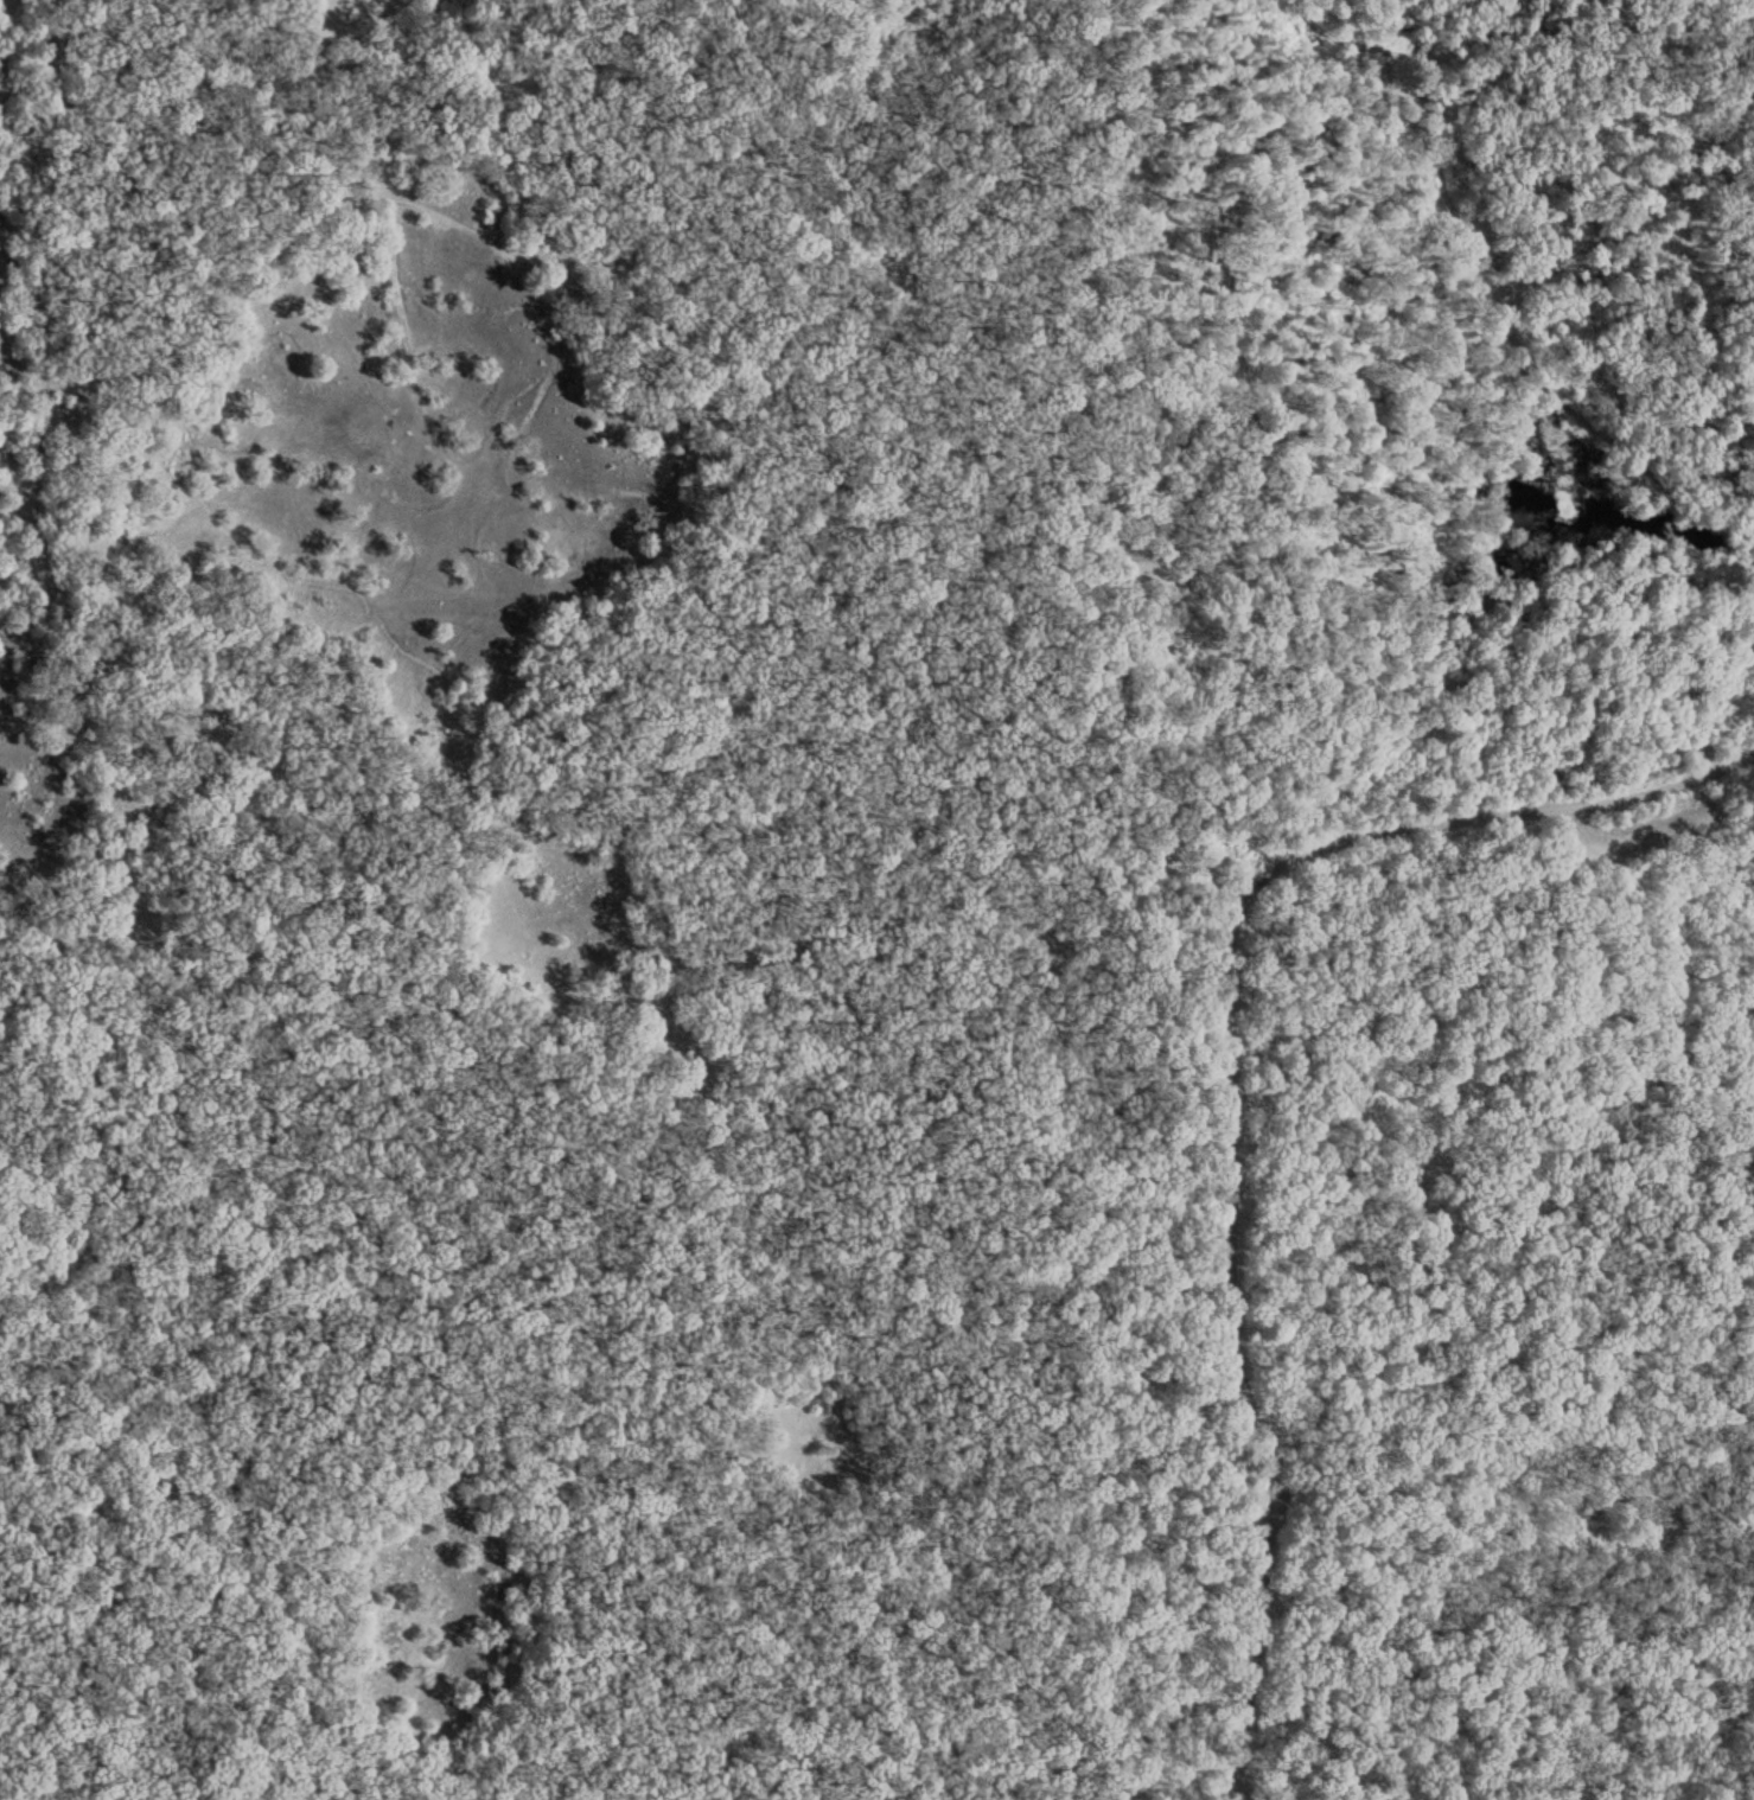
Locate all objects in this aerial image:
road: (1580, 293)
road: (1211, 1062)

